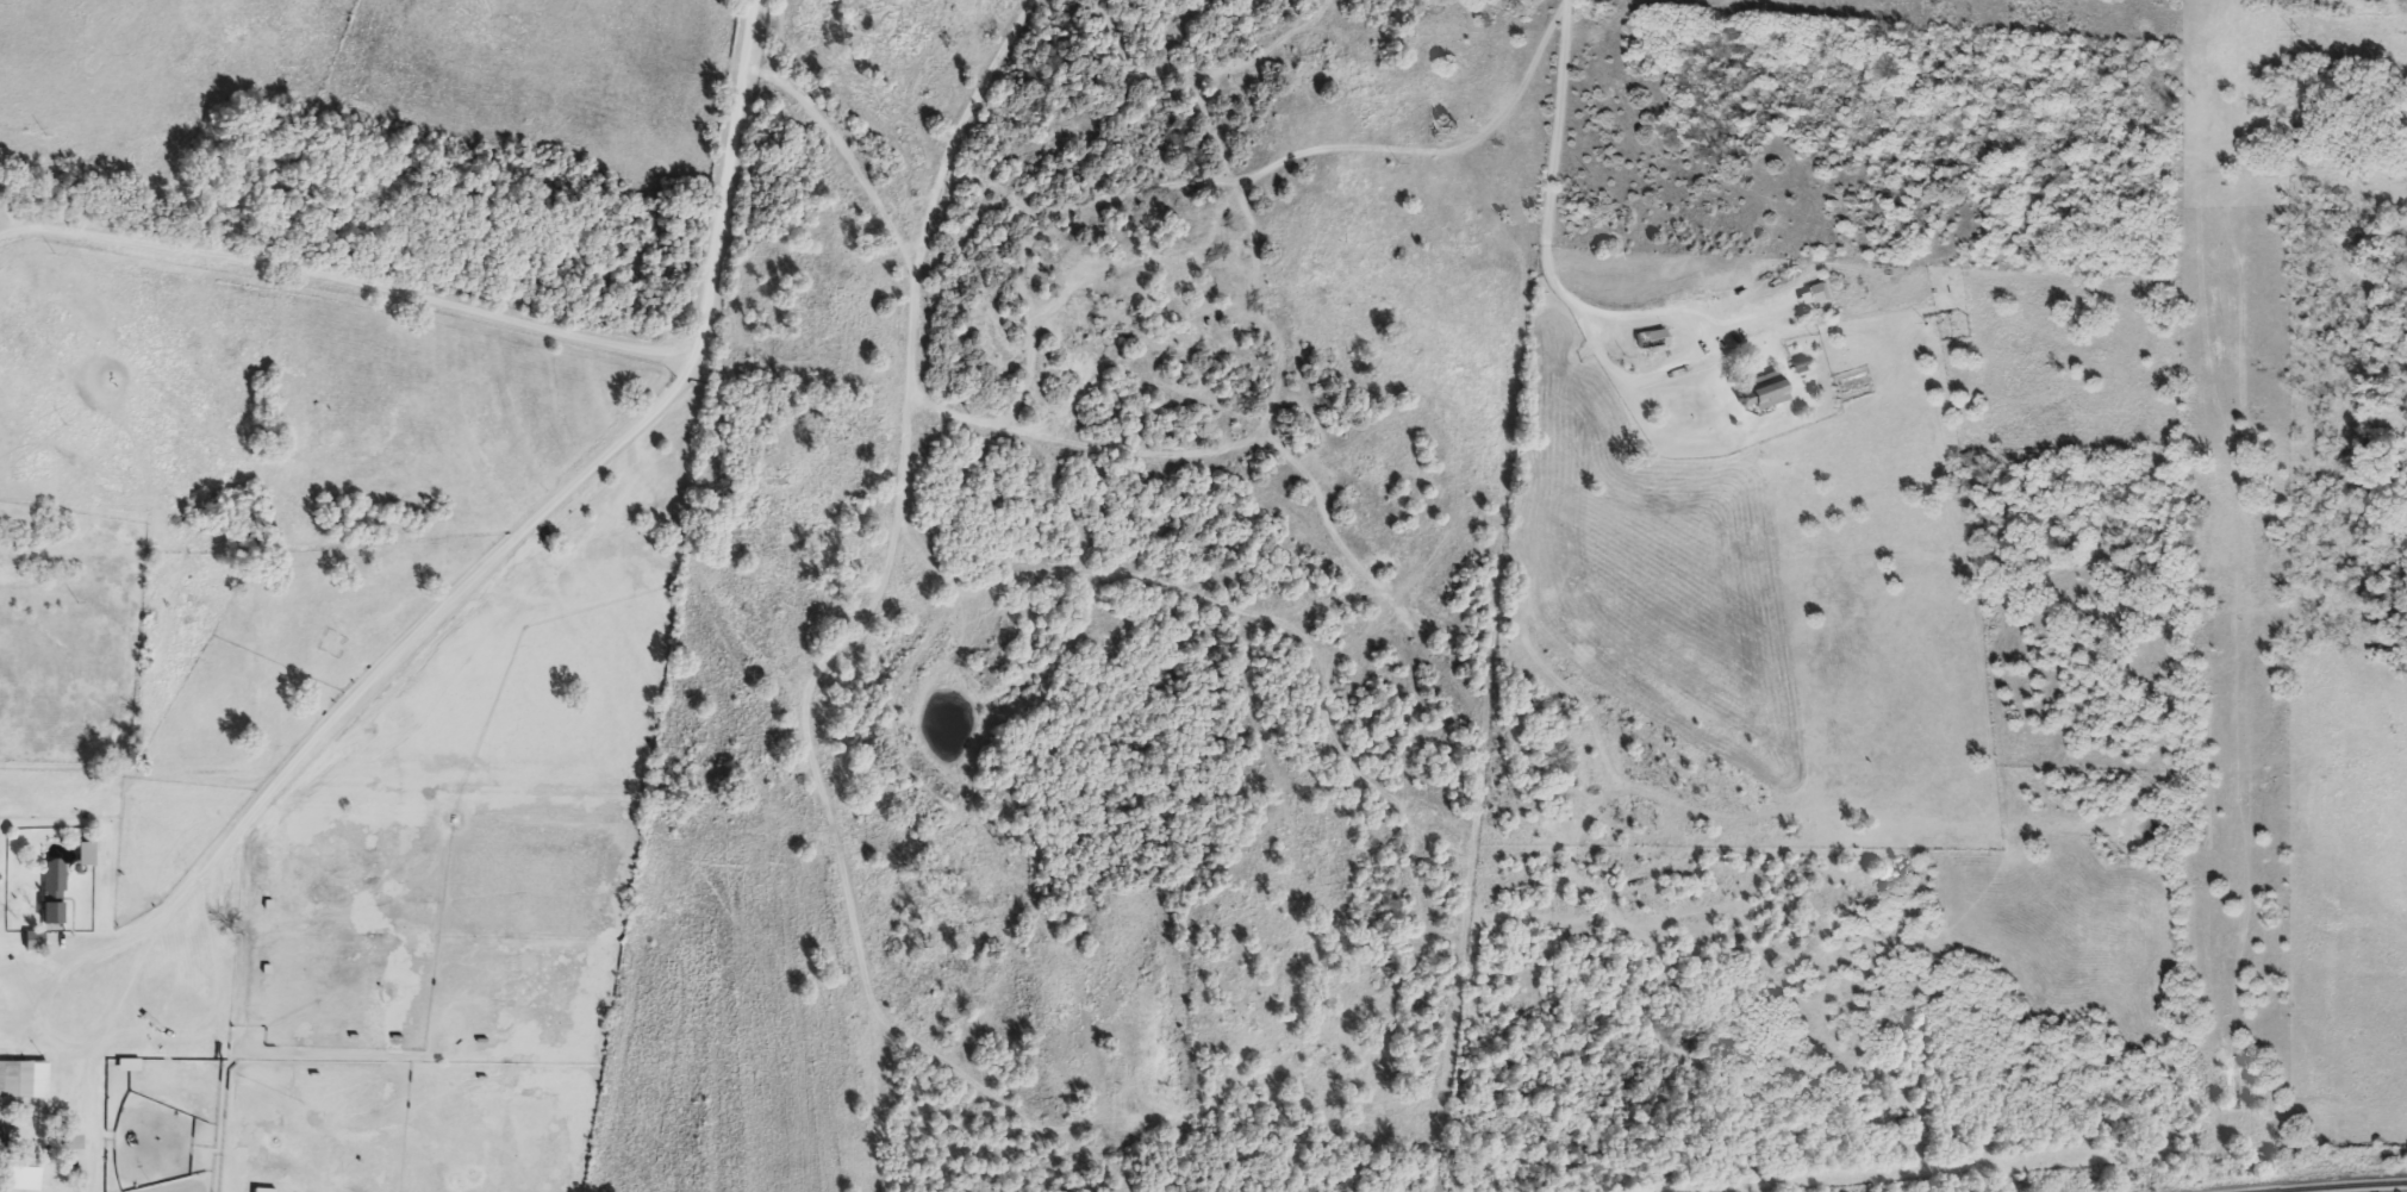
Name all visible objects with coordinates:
power tower: (1901, 7)
power tower: (2262, 35)
road: (1551, 152)
road: (723, 177)
road: (7, 216)
road: (1019, 273)
road: (348, 276)
building: (1648, 341)
building: (1759, 392)
road: (387, 668)
building: (50, 892)
building: (32, 941)
road: (195, 1032)
road: (50, 1034)
building: (23, 1080)
building: (20, 1182)
railway: (2356, 1187)
building: (263, 1191)

